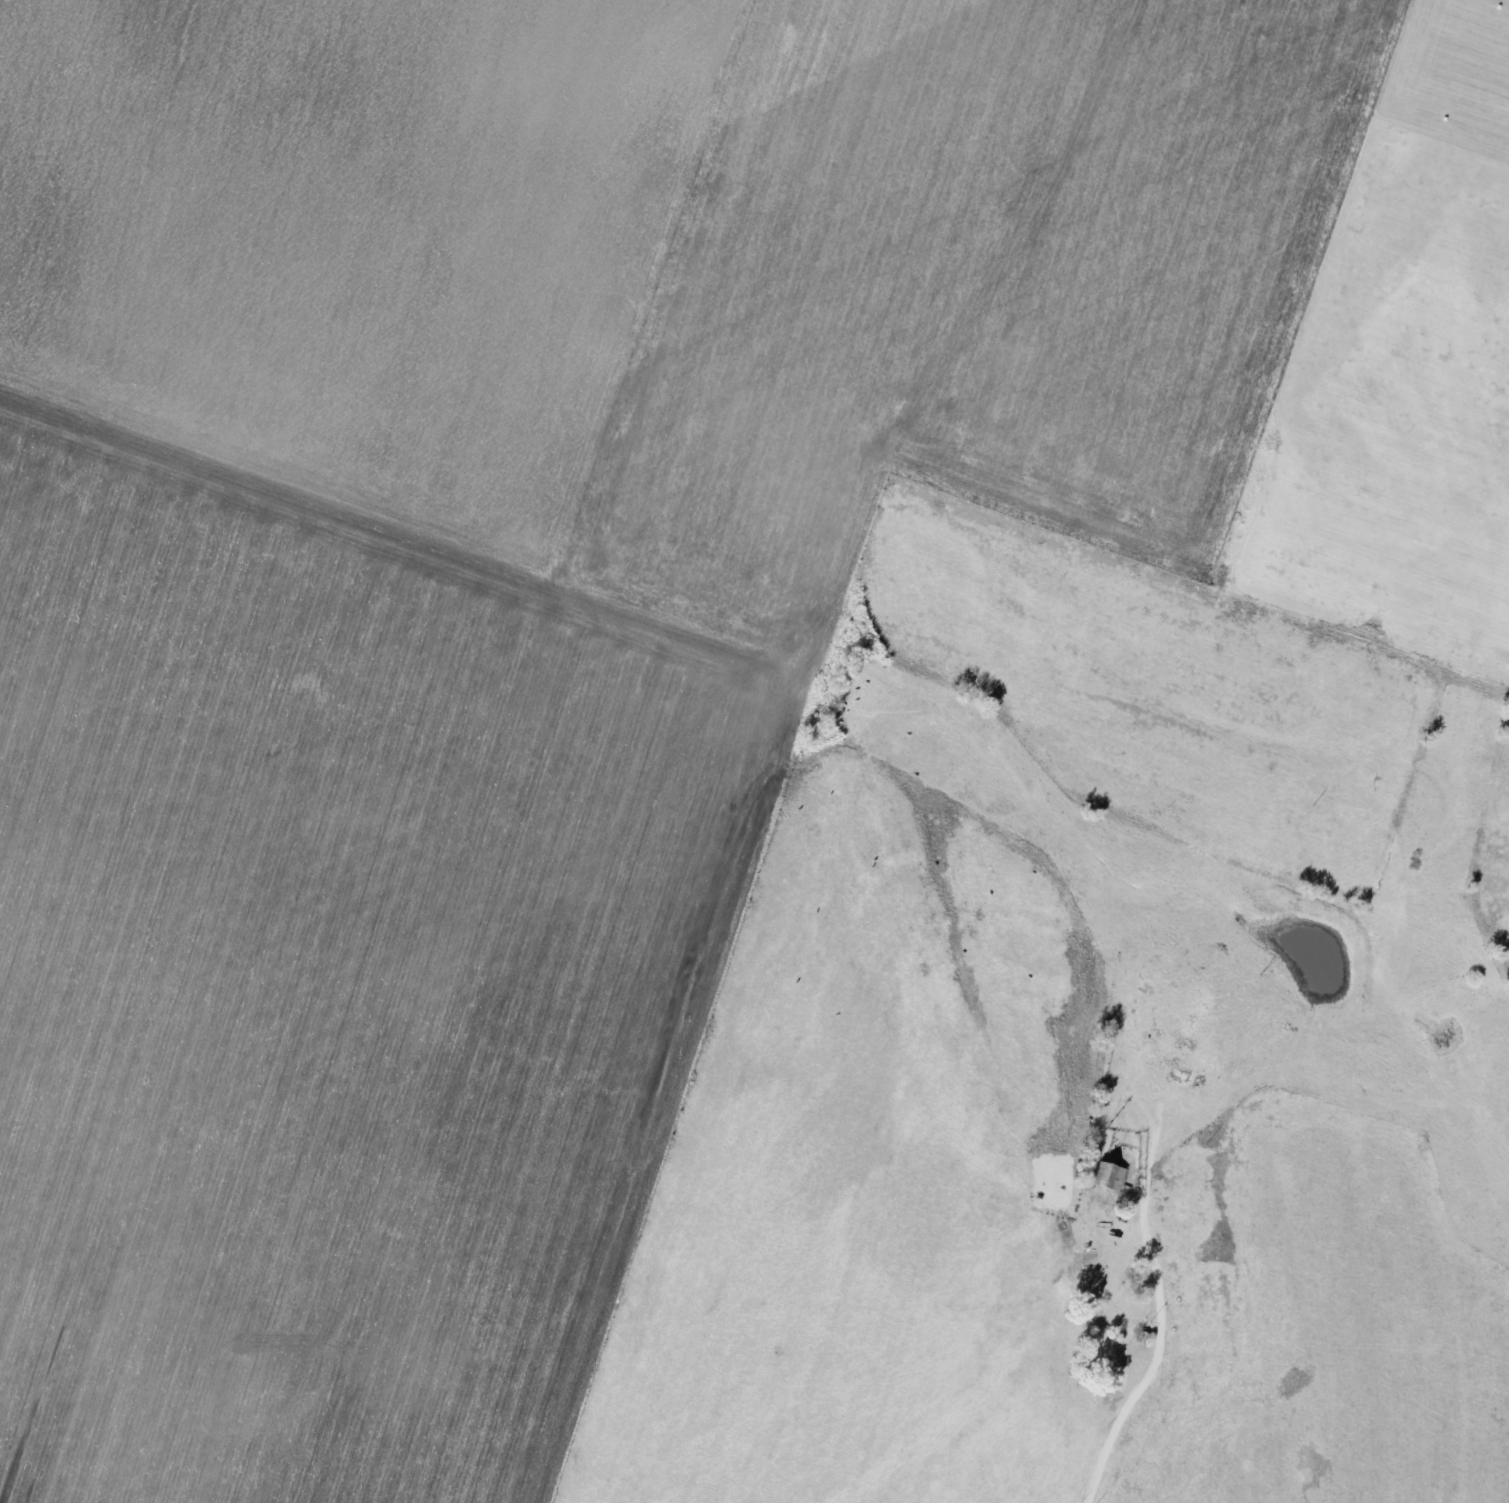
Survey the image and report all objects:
building: (1111, 1178)
road: (1103, 1467)

